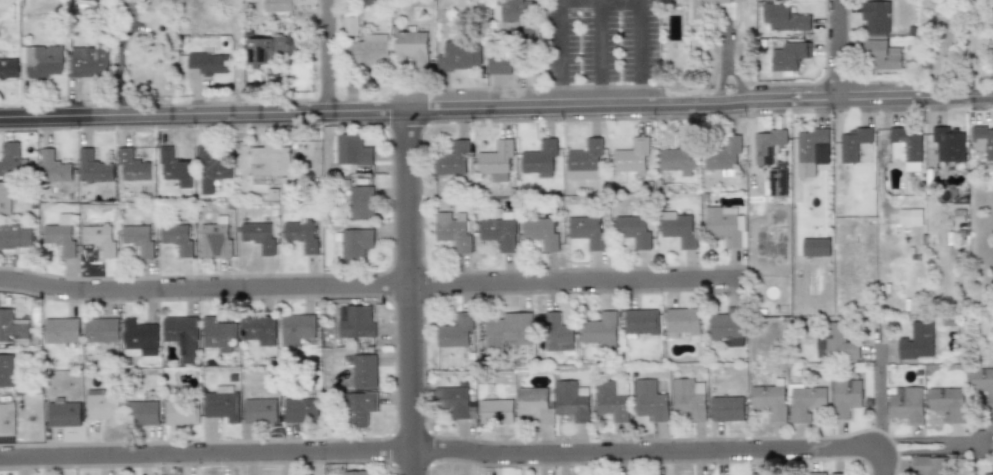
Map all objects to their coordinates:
building: (373, 1)
building: (278, 5)
building: (706, 8)
building: (517, 15)
building: (783, 18)
building: (350, 25)
road: (834, 32)
road: (968, 45)
building: (270, 48)
building: (413, 49)
building: (372, 50)
road: (639, 50)
road: (602, 51)
road: (557, 52)
building: (462, 55)
building: (882, 55)
building: (788, 56)
road: (324, 57)
building: (42, 60)
building: (88, 62)
building: (209, 63)
building: (501, 65)
building: (8, 68)
road: (496, 106)
building: (983, 141)
building: (852, 144)
building: (949, 144)
building: (768, 145)
building: (813, 146)
building: (905, 148)
building: (353, 151)
building: (723, 153)
building: (633, 156)
building: (542, 157)
building: (681, 157)
building: (10, 158)
building: (454, 159)
building: (587, 160)
building: (499, 161)
building: (269, 162)
building: (133, 166)
building: (53, 167)
building: (93, 167)
building: (174, 167)
building: (211, 170)
building: (778, 182)
building: (5, 197)
building: (362, 202)
building: (910, 216)
building: (727, 226)
building: (454, 231)
building: (635, 231)
building: (501, 232)
building: (589, 232)
building: (543, 233)
building: (301, 235)
building: (258, 236)
building: (14, 237)
building: (60, 237)
building: (98, 238)
building: (138, 238)
building: (177, 238)
building: (214, 239)
building: (357, 244)
building: (815, 247)
road: (372, 285)
road: (411, 292)
building: (642, 321)
building: (357, 322)
building: (683, 322)
building: (729, 326)
building: (13, 328)
building: (259, 329)
building: (297, 329)
building: (602, 330)
building: (62, 331)
building: (510, 331)
building: (102, 332)
building: (457, 332)
building: (559, 334)
building: (218, 335)
building: (181, 336)
building: (140, 337)
building: (917, 341)
building: (6, 370)
building: (365, 371)
building: (982, 383)
road: (880, 396)
building: (845, 397)
building: (613, 399)
building: (689, 399)
building: (650, 400)
building: (573, 401)
building: (770, 401)
building: (947, 402)
building: (222, 403)
building: (536, 404)
building: (906, 404)
building: (103, 406)
building: (360, 408)
building: (727, 408)
building: (301, 409)
building: (180, 410)
building: (260, 411)
building: (497, 411)
building: (63, 413)
building: (143, 413)
building: (6, 419)
road: (933, 445)
road: (454, 450)
building: (930, 465)
building: (356, 473)
building: (816, 473)
building: (758, 474)
building: (837, 474)
building: (988, 474)

